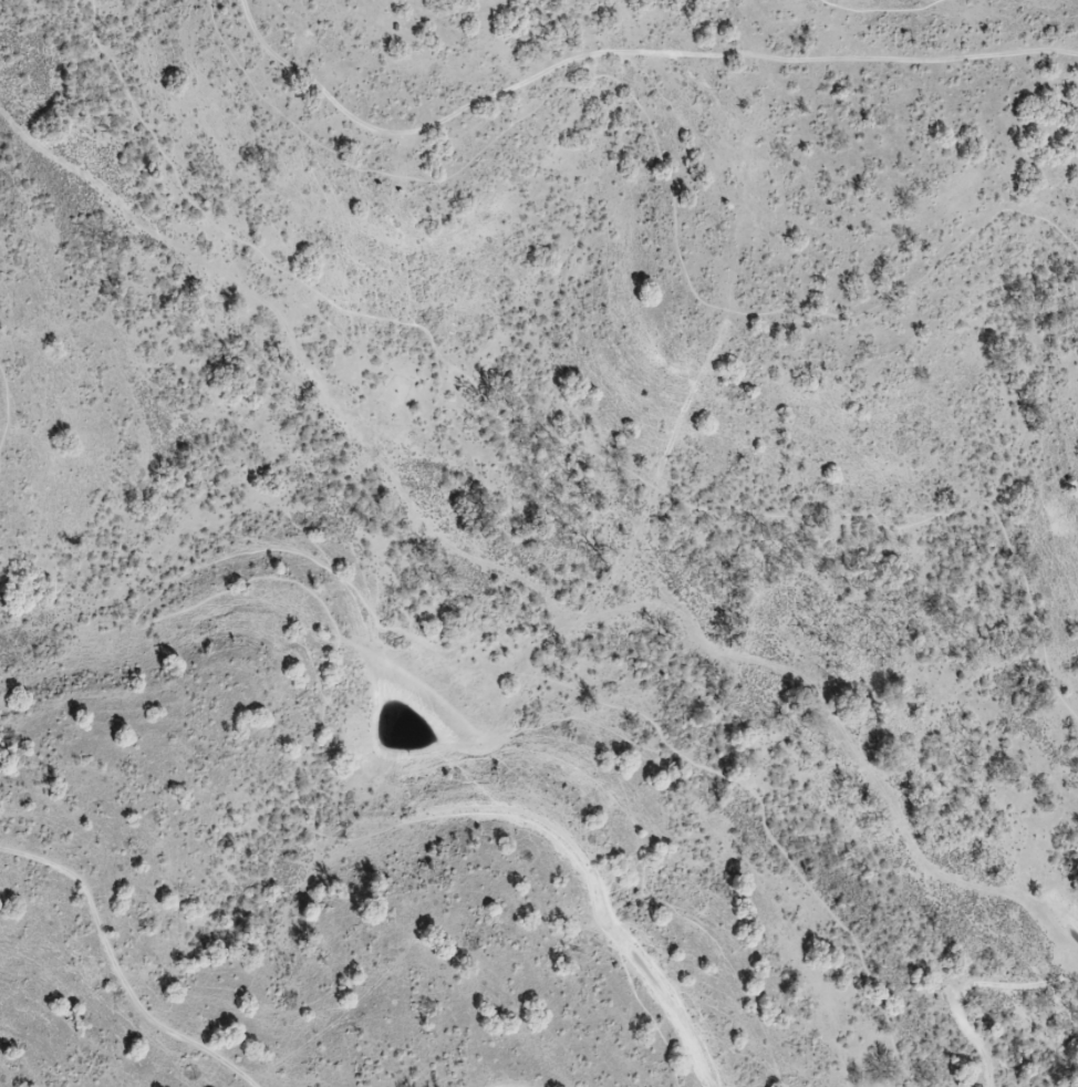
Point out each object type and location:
road: (881, 11)
road: (621, 53)
road: (653, 142)
road: (4, 406)
road: (558, 444)
road: (157, 597)
road: (120, 970)
road: (953, 982)
road: (1047, 1032)
road: (508, 1086)

